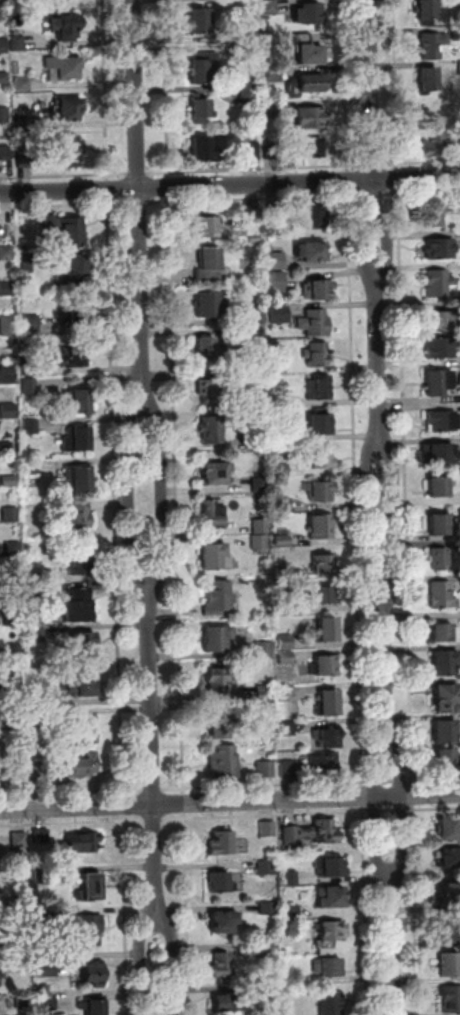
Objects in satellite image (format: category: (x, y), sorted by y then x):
building: (271, 6)
building: (2, 8)
building: (427, 11)
building: (311, 12)
building: (200, 20)
building: (60, 26)
building: (247, 33)
building: (457, 34)
building: (14, 42)
building: (2, 44)
building: (432, 46)
building: (248, 53)
building: (310, 53)
building: (61, 66)
building: (202, 67)
building: (272, 74)
building: (3, 76)
building: (428, 78)
building: (20, 82)
building: (305, 83)
road: (396, 85)
road: (345, 86)
road: (166, 88)
road: (105, 90)
building: (247, 92)
building: (68, 108)
building: (201, 110)
building: (272, 111)
building: (3, 113)
road: (371, 113)
building: (310, 117)
building: (21, 121)
building: (434, 144)
building: (312, 147)
building: (65, 148)
building: (203, 149)
building: (251, 150)
building: (4, 151)
building: (272, 151)
building: (23, 157)
road: (421, 163)
road: (372, 165)
road: (254, 169)
road: (138, 174)
road: (64, 176)
road: (399, 179)
road: (348, 181)
road: (229, 184)
road: (169, 187)
road: (107, 189)
road: (422, 193)
road: (373, 195)
road: (255, 199)
road: (139, 203)
road: (139, 204)
road: (65, 205)
building: (436, 211)
building: (254, 215)
building: (274, 215)
building: (311, 217)
building: (206, 227)
building: (66, 229)
building: (255, 239)
road: (385, 245)
road: (364, 246)
building: (440, 248)
building: (310, 250)
building: (6, 253)
building: (210, 258)
building: (30, 260)
building: (276, 260)
building: (77, 270)
building: (277, 281)
building: (438, 283)
building: (6, 288)
building: (316, 289)
building: (209, 303)
building: (278, 312)
building: (79, 315)
building: (254, 316)
building: (441, 321)
building: (314, 322)
building: (31, 324)
building: (8, 326)
building: (255, 331)
building: (441, 347)
building: (209, 349)
building: (316, 354)
building: (70, 356)
road: (378, 359)
building: (279, 366)
building: (29, 367)
building: (8, 374)
building: (246, 377)
building: (438, 381)
building: (30, 385)
building: (320, 387)
building: (212, 391)
building: (78, 400)
building: (280, 401)
building: (9, 411)
building: (443, 421)
building: (322, 423)
building: (31, 426)
building: (213, 429)
building: (279, 433)
building: (78, 439)
building: (259, 442)
building: (5, 447)
building: (437, 452)
building: (321, 458)
building: (34, 467)
building: (282, 470)
building: (215, 472)
building: (79, 479)
building: (10, 481)
building: (260, 483)
road: (406, 486)
building: (441, 486)
road: (356, 488)
building: (320, 490)
road: (176, 495)
road: (131, 496)
road: (161, 496)
road: (115, 497)
building: (213, 513)
building: (11, 515)
road: (393, 517)
road: (370, 519)
building: (77, 521)
building: (439, 524)
building: (260, 526)
building: (322, 526)
building: (283, 540)
building: (260, 541)
building: (13, 549)
building: (216, 556)
building: (439, 558)
building: (79, 559)
building: (324, 563)
building: (284, 572)
building: (36, 591)
building: (324, 594)
building: (442, 595)
building: (219, 597)
building: (79, 605)
building: (284, 609)
building: (14, 617)
building: (328, 629)
building: (443, 632)
building: (37, 634)
building: (218, 639)
building: (286, 642)
building: (87, 643)
building: (264, 649)
building: (15, 651)
building: (286, 658)
road: (387, 660)
building: (446, 663)
building: (326, 665)
building: (221, 679)
building: (85, 685)
building: (15, 688)
building: (264, 692)
building: (287, 694)
building: (447, 698)
building: (39, 701)
building: (328, 703)
building: (265, 708)
building: (41, 717)
building: (19, 723)
building: (219, 723)
building: (87, 729)
building: (288, 729)
building: (446, 731)
building: (328, 738)
building: (1, 749)
road: (153, 753)
building: (18, 756)
building: (447, 761)
building: (223, 762)
building: (324, 764)
building: (83, 766)
building: (266, 769)
building: (289, 769)
building: (40, 771)
building: (21, 778)
road: (434, 779)
road: (402, 780)
road: (375, 781)
road: (389, 782)
road: (266, 785)
road: (154, 790)
road: (72, 792)
road: (414, 795)
road: (364, 797)
road: (230, 802)
road: (184, 803)
road: (376, 803)
road: (403, 804)
road: (123, 805)
road: (434, 810)
road: (403, 811)
road: (376, 812)
road: (389, 812)
road: (266, 816)
road: (154, 820)
road: (73, 822)
building: (450, 828)
building: (267, 829)
building: (312, 833)
building: (42, 836)
building: (19, 839)
building: (83, 842)
building: (221, 844)
building: (451, 858)
building: (333, 867)
building: (266, 868)
building: (42, 878)
building: (291, 879)
building: (219, 882)
building: (91, 888)
building: (451, 894)
building: (331, 897)
building: (21, 902)
building: (268, 909)
road: (416, 909)
road: (366, 911)
road: (187, 913)
building: (292, 913)
road: (126, 915)
building: (44, 918)
building: (22, 919)
building: (223, 922)
building: (90, 929)
building: (453, 932)
building: (328, 935)
road: (393, 943)
building: (272, 948)
building: (23, 959)
building: (42, 962)
road: (140, 964)
road: (174, 965)
building: (223, 965)
building: (450, 965)
building: (328, 967)
building: (2, 973)
building: (94, 974)
building: (272, 992)
building: (451, 999)
building: (23, 1002)
building: (227, 1002)
building: (47, 1003)
building: (330, 1003)
building: (94, 1007)

